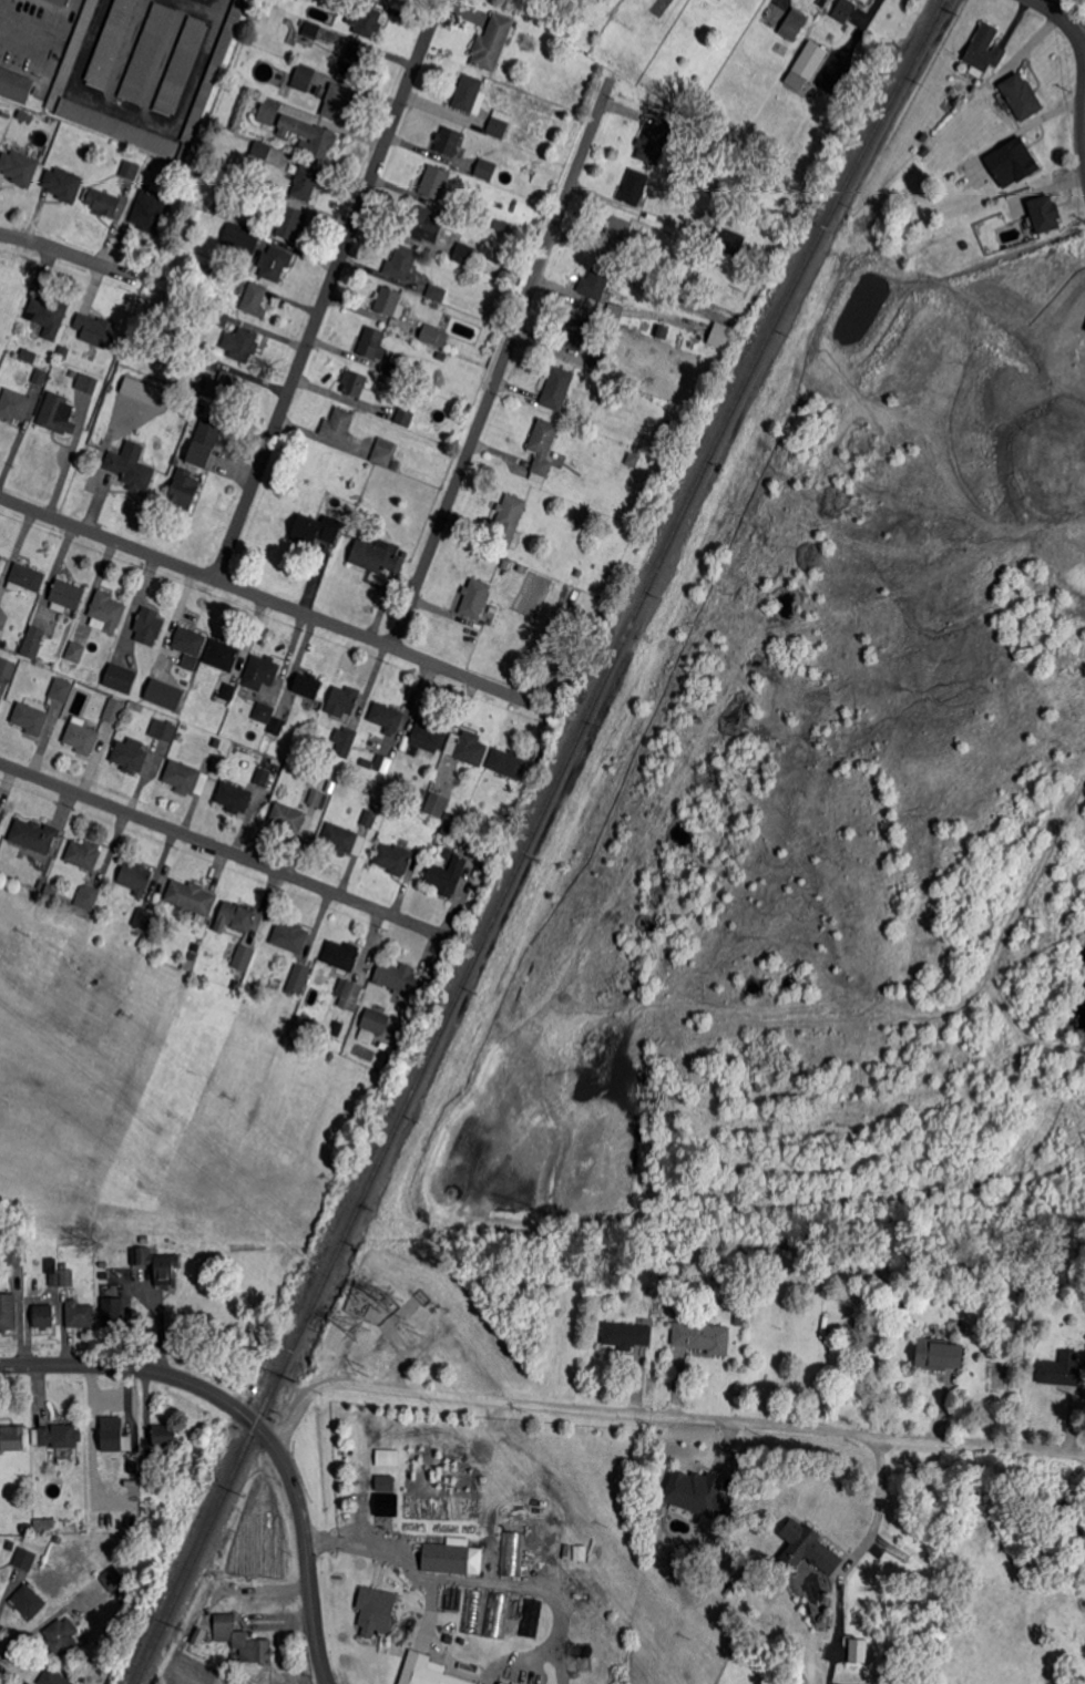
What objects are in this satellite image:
building: (866, 0)
building: (60, 2)
road: (776, 7)
building: (843, 9)
road: (1057, 14)
building: (366, 19)
building: (792, 24)
road: (1079, 30)
building: (308, 32)
building: (112, 42)
building: (492, 42)
road: (1079, 43)
road: (19, 44)
building: (984, 49)
building: (73, 51)
building: (147, 52)
building: (352, 61)
building: (809, 61)
building: (182, 65)
building: (212, 76)
building: (304, 76)
building: (854, 84)
building: (17, 85)
building: (468, 92)
building: (1021, 97)
building: (337, 103)
building: (946, 106)
building: (269, 111)
road: (144, 113)
building: (23, 114)
building: (6, 115)
building: (459, 117)
building: (119, 127)
building: (492, 129)
building: (318, 138)
building: (448, 141)
building: (654, 141)
building: (921, 145)
building: (262, 148)
building: (1011, 162)
building: (19, 168)
building: (130, 170)
building: (485, 170)
building: (306, 179)
building: (434, 182)
building: (63, 184)
building: (755, 186)
building: (635, 187)
building: (102, 201)
building: (936, 206)
building: (150, 210)
building: (1045, 214)
building: (789, 219)
building: (290, 223)
building: (424, 223)
building: (495, 223)
building: (617, 234)
building: (246, 237)
building: (729, 242)
road: (69, 253)
building: (464, 253)
building: (275, 263)
building: (402, 264)
building: (208, 269)
building: (663, 273)
building: (596, 281)
road: (328, 289)
building: (437, 290)
building: (657, 294)
building: (255, 299)
building: (390, 301)
building: (49, 315)
building: (219, 317)
building: (95, 329)
building: (577, 331)
building: (721, 335)
building: (433, 336)
building: (371, 342)
building: (242, 343)
building: (63, 351)
building: (29, 355)
building: (441, 356)
building: (203, 359)
building: (598, 361)
building: (397, 366)
road: (500, 369)
building: (102, 372)
building: (41, 377)
building: (88, 383)
building: (357, 386)
building: (224, 387)
building: (556, 389)
building: (142, 390)
building: (14, 405)
building: (57, 414)
building: (403, 418)
building: (337, 425)
building: (205, 441)
building: (542, 449)
building: (383, 451)
building: (634, 460)
building: (396, 464)
building: (132, 466)
building: (184, 489)
building: (510, 520)
building: (317, 528)
building: (377, 557)
building: (1, 558)
building: (575, 573)
building: (27, 577)
building: (66, 595)
building: (474, 598)
road: (280, 603)
building: (108, 610)
building: (149, 628)
building: (1, 634)
building: (190, 640)
building: (33, 641)
building: (75, 651)
building: (223, 655)
building: (187, 660)
building: (164, 664)
building: (8, 667)
building: (262, 671)
building: (158, 676)
building: (120, 679)
building: (308, 685)
building: (61, 689)
building: (162, 692)
building: (228, 692)
building: (344, 700)
building: (114, 710)
building: (263, 713)
building: (32, 716)
building: (387, 717)
building: (277, 725)
building: (185, 726)
building: (163, 729)
building: (429, 736)
building: (82, 738)
building: (344, 741)
building: (468, 748)
building: (131, 754)
building: (508, 762)
building: (367, 764)
building: (382, 764)
building: (263, 777)
building: (186, 778)
building: (234, 797)
building: (316, 798)
building: (438, 804)
building: (1, 817)
building: (450, 817)
building: (288, 818)
building: (369, 818)
building: (446, 831)
building: (33, 835)
railway: (531, 836)
building: (344, 840)
road: (227, 850)
building: (480, 850)
building: (447, 853)
building: (84, 854)
building: (395, 859)
building: (447, 875)
building: (135, 877)
building: (42, 883)
building: (50, 890)
building: (88, 896)
building: (192, 899)
building: (237, 916)
building: (143, 918)
building: (290, 936)
building: (192, 954)
building: (342, 955)
building: (244, 957)
building: (188, 965)
building: (299, 979)
building: (399, 979)
building: (348, 993)
building: (376, 1021)
building: (777, 1243)
building: (823, 1245)
building: (16, 1257)
building: (157, 1264)
building: (114, 1276)
building: (68, 1277)
building: (1082, 1277)
building: (54, 1280)
power tower: (390, 1297)
building: (8, 1311)
building: (112, 1313)
building: (81, 1314)
building: (45, 1316)
building: (739, 1318)
power tower: (360, 1328)
building: (625, 1336)
building: (703, 1336)
building: (938, 1355)
building: (1063, 1369)
road: (662, 1416)
road: (257, 1425)
building: (165, 1435)
building: (58, 1436)
building: (12, 1438)
building: (116, 1439)
building: (386, 1456)
building: (151, 1462)
building: (383, 1481)
building: (134, 1482)
building: (697, 1492)
road: (874, 1497)
building: (385, 1503)
building: (49, 1523)
building: (28, 1528)
building: (59, 1539)
building: (810, 1546)
building: (512, 1553)
building: (25, 1559)
building: (454, 1559)
building: (727, 1568)
building: (112, 1580)
road: (549, 1593)
building: (29, 1600)
building: (375, 1608)
building: (471, 1612)
building: (518, 1614)
building: (495, 1616)
building: (532, 1616)
building: (225, 1627)
building: (63, 1636)
building: (199, 1636)
building: (856, 1650)
building: (257, 1651)
building: (847, 1671)
building: (429, 1672)
building: (54, 1677)
building: (796, 1680)
building: (501, 1683)
building: (504, 1683)

